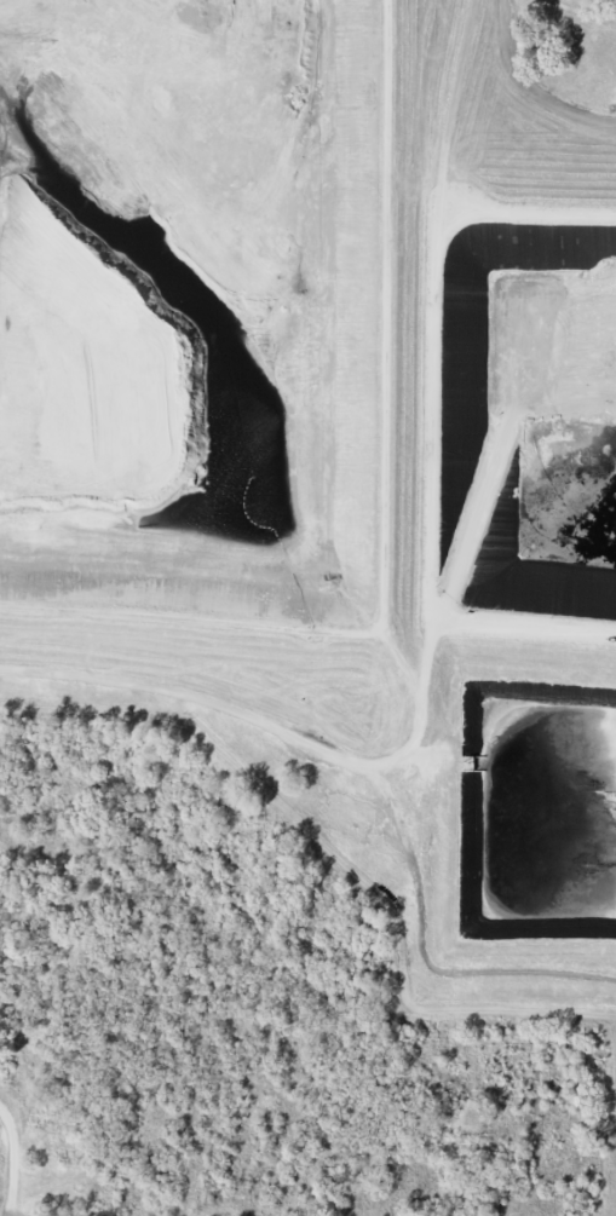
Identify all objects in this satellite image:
road: (526, 90)

